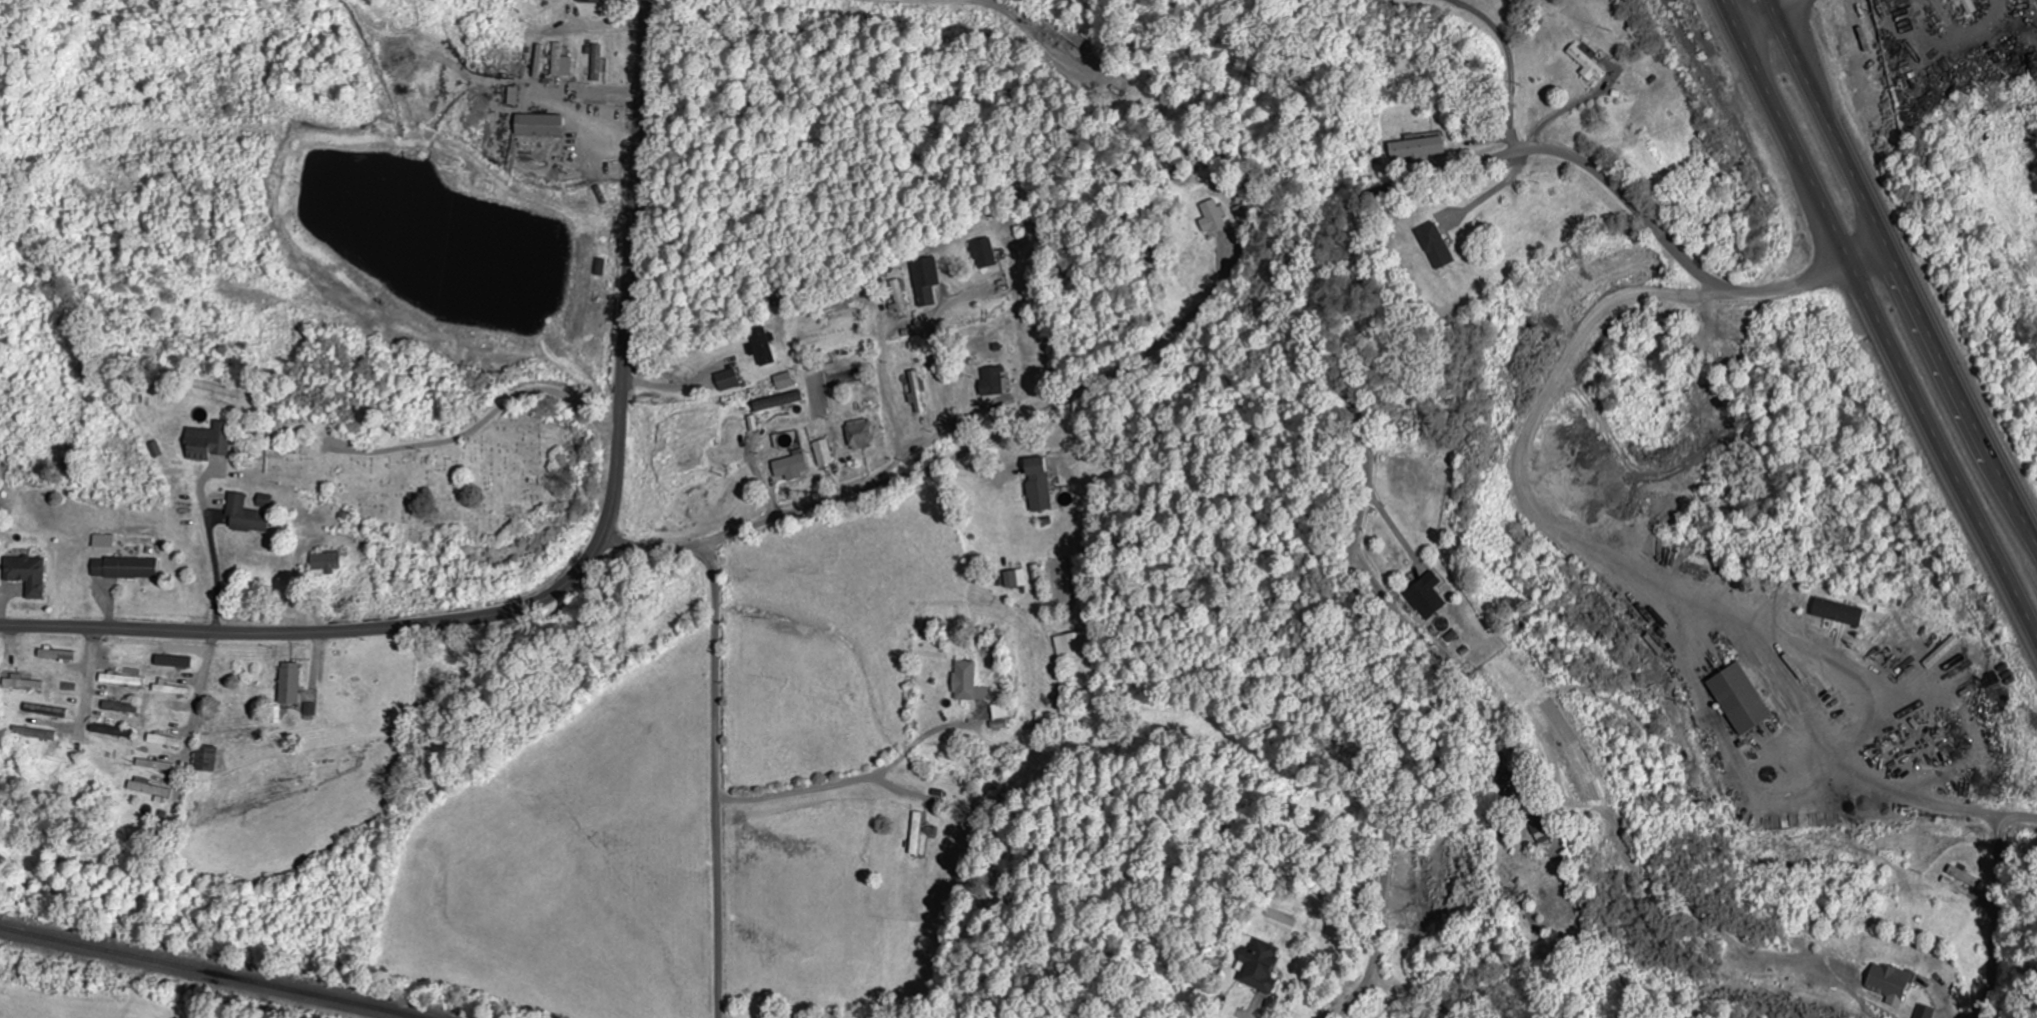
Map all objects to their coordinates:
building: (1952, 0)
building: (587, 2)
building: (1969, 7)
road: (1768, 18)
building: (537, 62)
building: (559, 62)
building: (597, 63)
building: (1582, 64)
building: (537, 126)
building: (1418, 150)
building: (1153, 215)
building: (1212, 218)
building: (1431, 246)
building: (982, 254)
road: (1901, 267)
building: (925, 282)
building: (899, 298)
road: (1328, 315)
road: (1876, 318)
building: (762, 347)
building: (725, 381)
building: (782, 382)
building: (990, 383)
building: (915, 392)
building: (776, 402)
building: (859, 435)
building: (213, 442)
road: (980, 449)
building: (822, 453)
park: (438, 462)
building: (788, 467)
building: (1037, 484)
building: (253, 514)
building: (106, 542)
building: (331, 563)
building: (127, 569)
building: (30, 575)
road: (575, 575)
building: (1014, 579)
building: (1427, 597)
building: (1839, 613)
building: (1075, 644)
building: (178, 662)
building: (967, 683)
building: (26, 684)
building: (294, 684)
building: (1739, 700)
building: (312, 710)
building: (50, 711)
building: (999, 712)
building: (114, 732)
road: (718, 733)
building: (38, 734)
building: (168, 742)
building: (210, 759)
road: (853, 780)
building: (152, 789)
building: (1537, 832)
building: (914, 834)
building: (1964, 877)
building: (1257, 967)
railway: (208, 972)
building: (1889, 984)
building: (1924, 1012)

